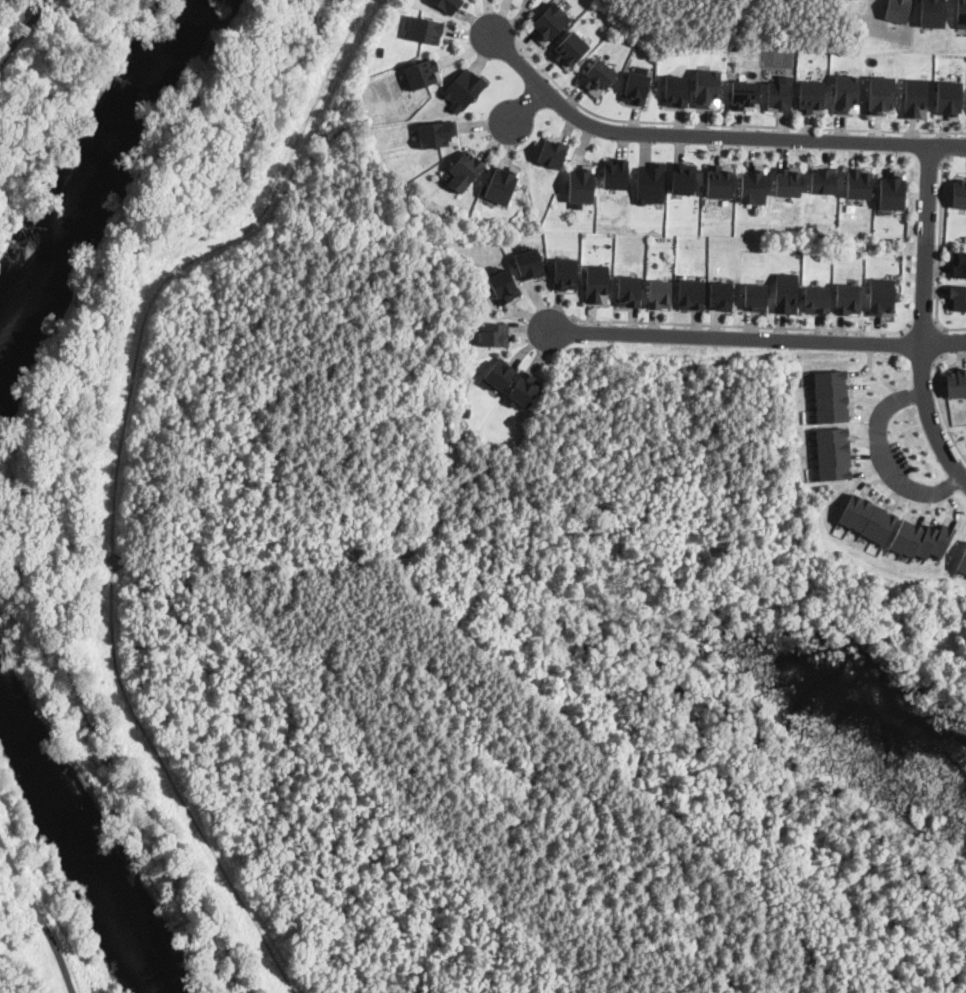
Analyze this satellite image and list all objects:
building: (448, 4)
building: (898, 10)
building: (932, 13)
building: (962, 14)
park: (741, 22)
building: (550, 23)
building: (426, 29)
road: (25, 30)
building: (570, 49)
building: (422, 74)
building: (597, 77)
park: (54, 85)
building: (636, 86)
building: (706, 88)
building: (463, 90)
building: (674, 90)
building: (780, 94)
building: (846, 94)
building: (742, 95)
building: (881, 95)
building: (811, 96)
building: (916, 98)
building: (949, 98)
road: (526, 104)
road: (728, 125)
building: (438, 134)
road: (709, 136)
road: (946, 146)
building: (553, 151)
building: (464, 171)
building: (616, 173)
building: (683, 177)
building: (823, 179)
building: (719, 180)
building: (789, 181)
building: (859, 183)
building: (502, 184)
building: (582, 184)
building: (650, 184)
river: (86, 185)
building: (754, 185)
building: (959, 190)
building: (893, 191)
road: (939, 251)
building: (529, 262)
building: (959, 264)
building: (565, 274)
building: (503, 284)
building: (596, 284)
building: (628, 291)
building: (659, 293)
building: (786, 293)
building: (691, 294)
building: (721, 295)
building: (755, 296)
building: (882, 297)
building: (957, 297)
building: (816, 299)
building: (847, 299)
road: (924, 317)
road: (743, 327)
road: (924, 327)
building: (494, 333)
road: (755, 338)
road: (942, 342)
building: (498, 374)
building: (831, 374)
building: (956, 382)
building: (831, 387)
building: (524, 389)
building: (832, 400)
road: (941, 407)
building: (467, 412)
building: (833, 413)
building: (833, 433)
building: (834, 446)
building: (835, 458)
road: (884, 459)
building: (836, 471)
building: (852, 508)
building: (864, 514)
building: (875, 520)
building: (886, 526)
building: (904, 534)
building: (916, 538)
building: (929, 540)
building: (943, 540)
building: (962, 560)
park: (450, 610)
river: (87, 849)
park: (37, 913)
road: (40, 915)

